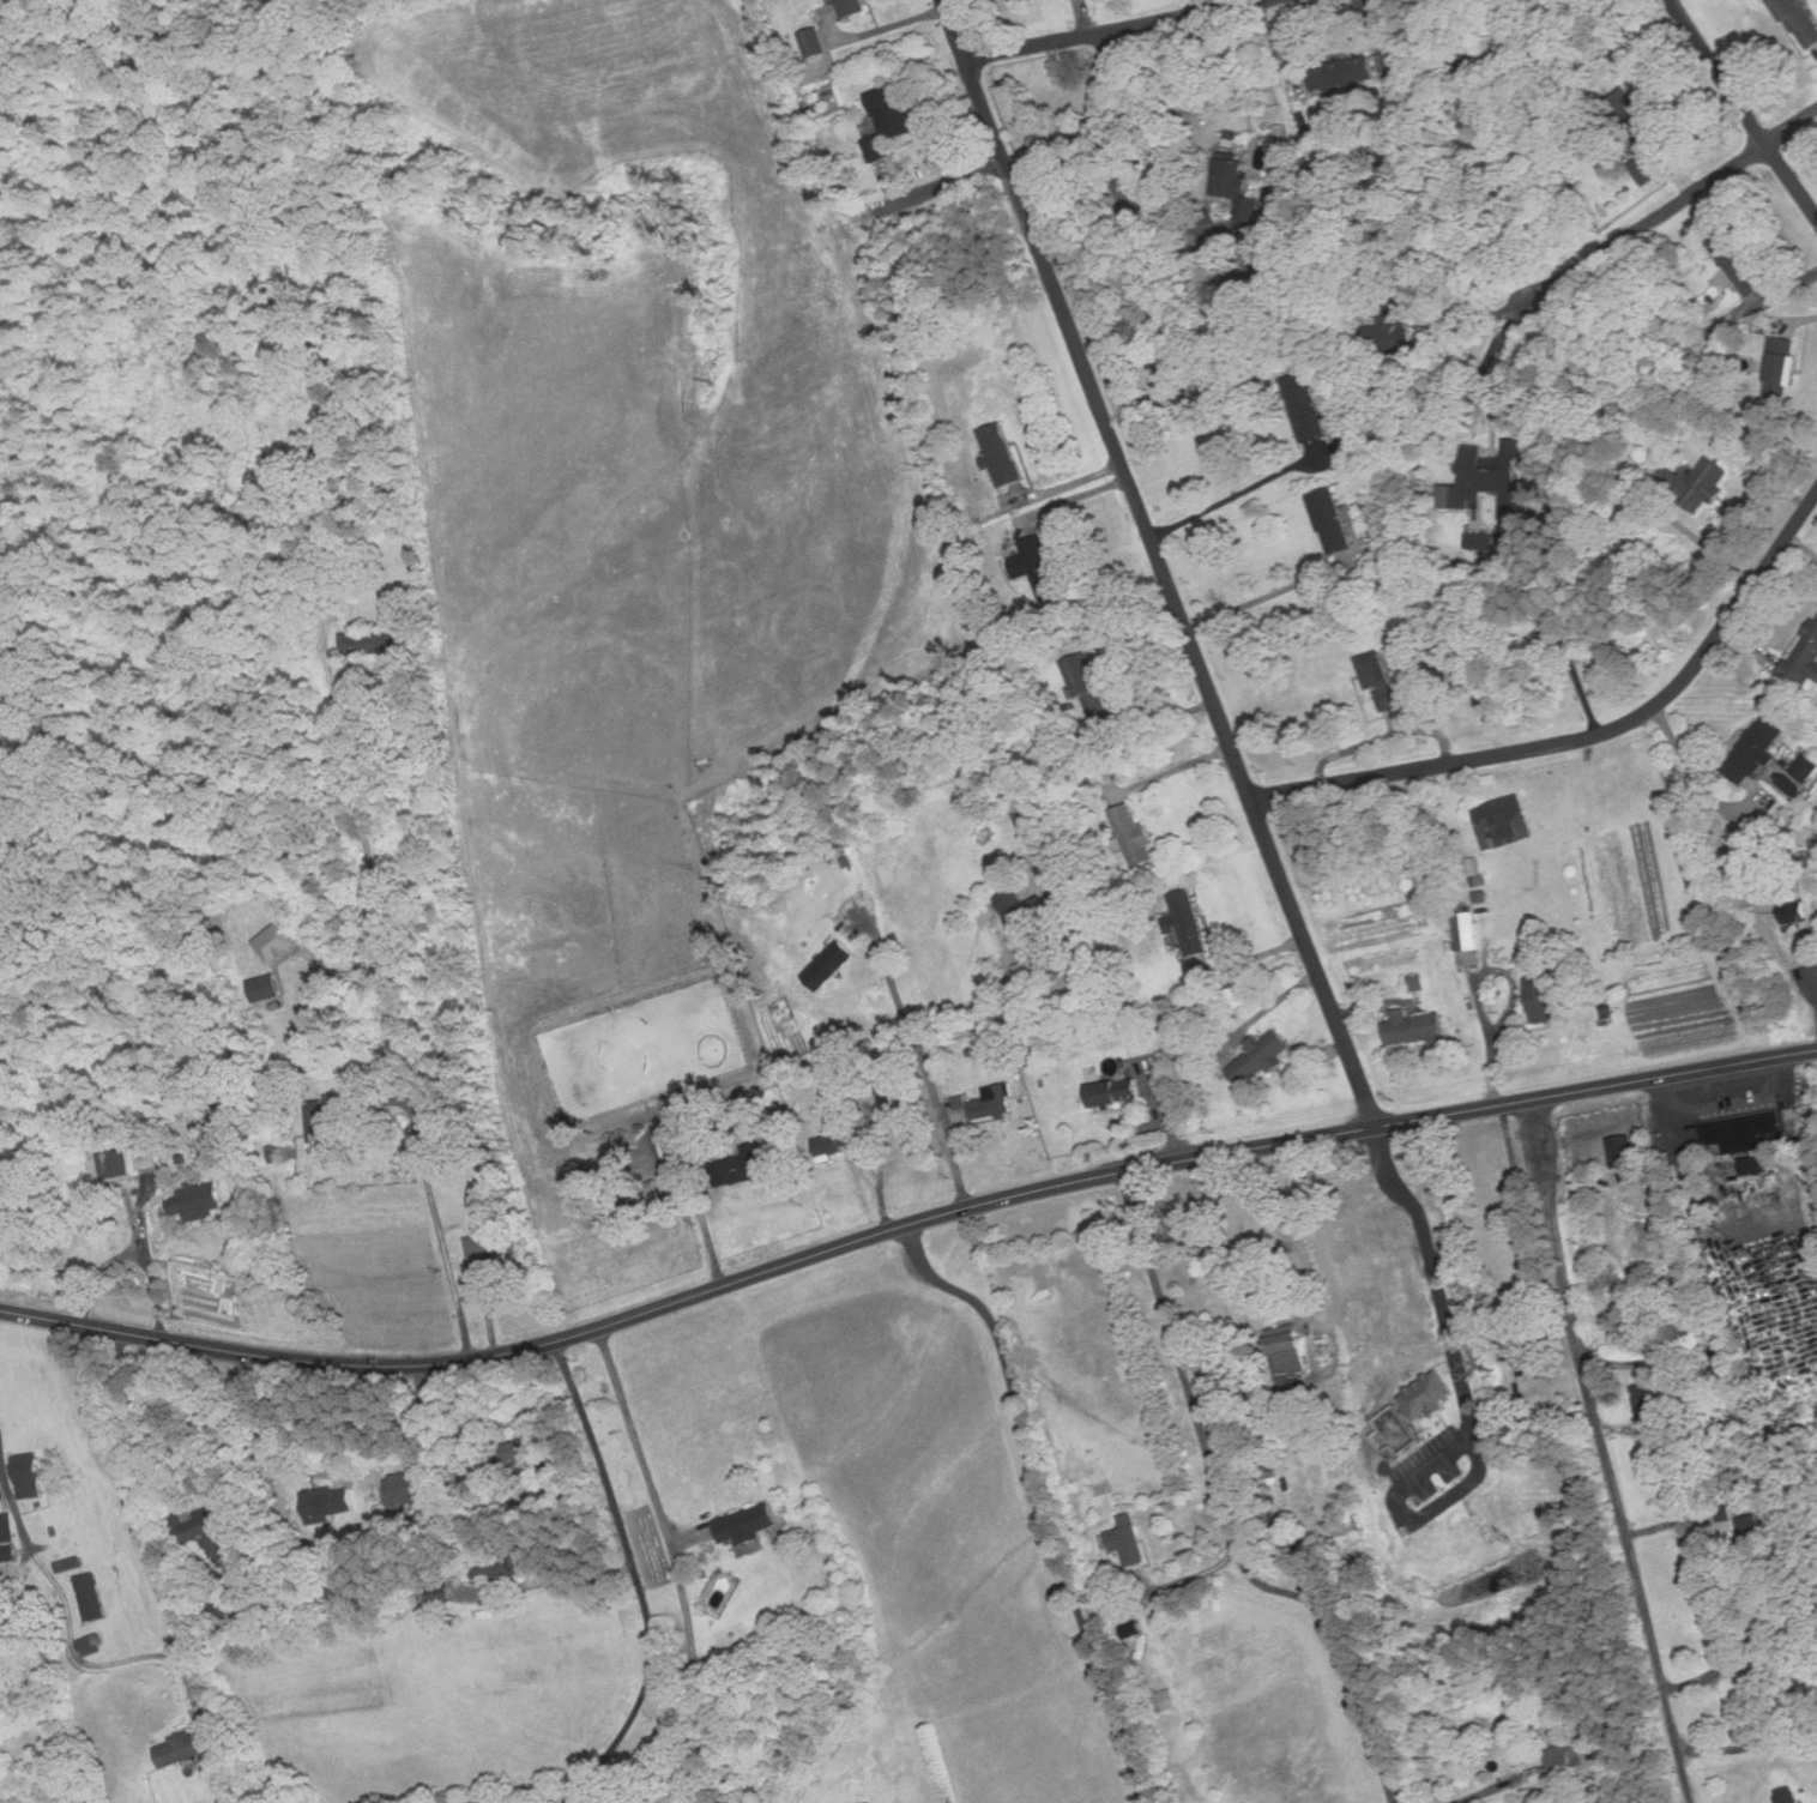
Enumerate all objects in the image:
building: (851, 7)
building: (1799, 22)
road: (1111, 29)
building: (815, 42)
building: (1489, 55)
building: (1342, 73)
road: (1740, 108)
building: (1636, 117)
building: (889, 122)
building: (1648, 171)
road: (1100, 175)
building: (1236, 182)
road: (891, 209)
road: (1672, 210)
building: (1738, 263)
road: (1776, 291)
building: (1785, 362)
building: (1306, 406)
building: (1347, 452)
building: (1002, 454)
building: (1495, 482)
building: (1696, 482)
road: (1235, 495)
building: (1330, 520)
road: (1160, 562)
building: (1039, 566)
road: (1258, 599)
road: (1564, 638)
building: (372, 641)
building: (1804, 659)
building: (1383, 682)
building: (1089, 685)
road: (1588, 738)
building: (1756, 750)
road: (1175, 768)
building: (1807, 768)
road: (1696, 778)
building: (1027, 820)
building: (1503, 822)
building: (1135, 834)
building: (1740, 872)
building: (1051, 891)
building: (1025, 910)
building: (1795, 912)
building: (1188, 923)
building: (1467, 939)
building: (832, 965)
building: (1417, 982)
building: (266, 988)
road: (1004, 993)
building: (1547, 996)
building: (1414, 1027)
building: (1260, 1057)
road: (926, 1068)
building: (1117, 1092)
building: (991, 1104)
building: (961, 1108)
building: (326, 1124)
building: (1744, 1132)
road: (411, 1139)
building: (831, 1145)
building: (678, 1146)
building: (1623, 1151)
building: (147, 1158)
building: (120, 1163)
building: (1757, 1165)
building: (743, 1166)
building: (199, 1200)
road: (904, 1224)
building: (493, 1241)
road: (138, 1242)
road: (1219, 1247)
building: (1292, 1344)
building: (1427, 1394)
road: (1465, 1394)
road: (271, 1418)
road: (137, 1419)
road: (598, 1452)
building: (525, 1453)
road: (1604, 1453)
building: (30, 1476)
building: (411, 1484)
road: (1040, 1500)
building: (328, 1502)
road: (1225, 1509)
building: (747, 1524)
building: (213, 1533)
building: (1124, 1533)
building: (8, 1538)
road: (680, 1570)
road: (548, 1579)
building: (95, 1598)
road: (72, 1615)
road: (642, 1695)
building: (180, 1750)
building: (1564, 1759)
road: (1501, 1787)
building: (1791, 1795)

